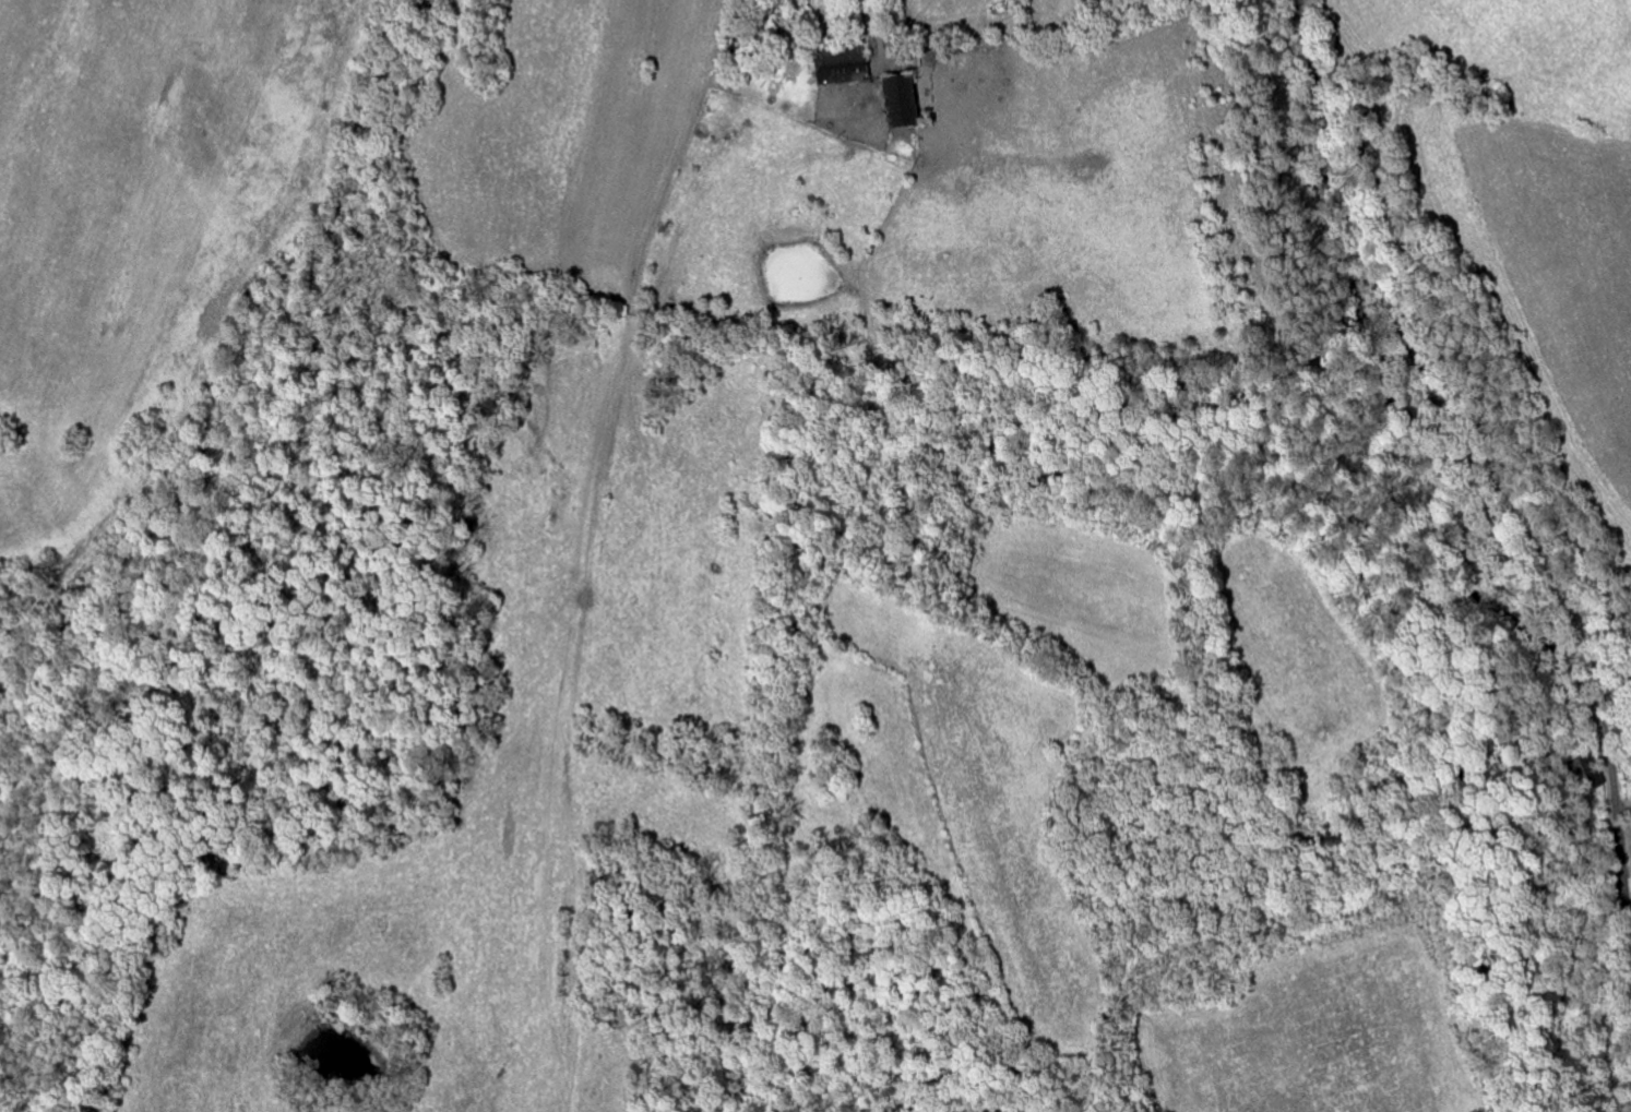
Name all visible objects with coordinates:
building: (905, 103)
road: (1472, 461)

